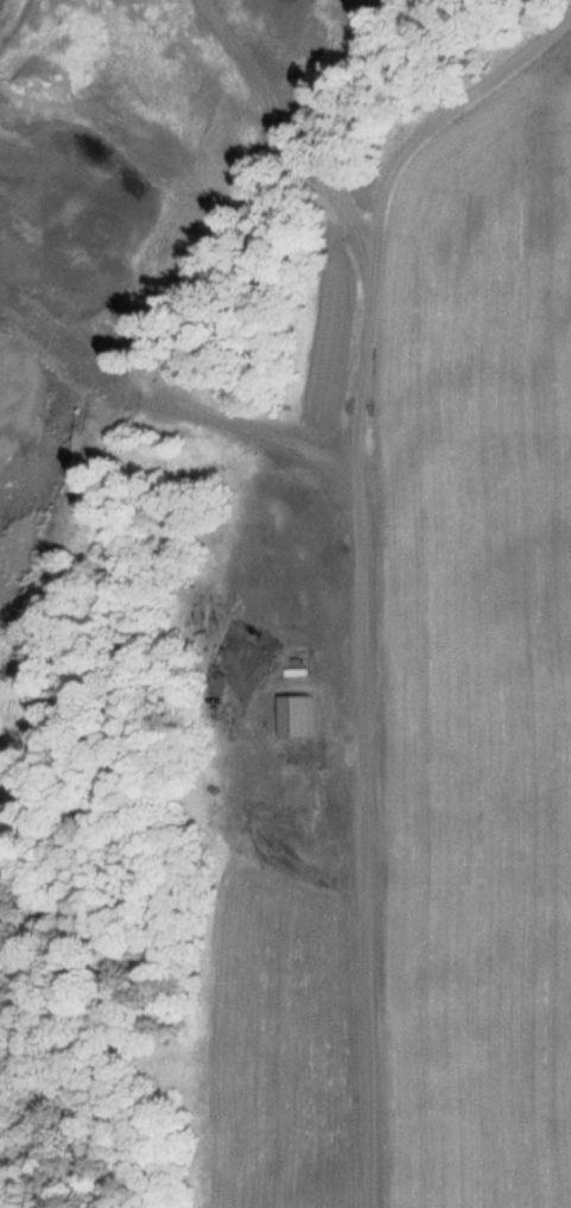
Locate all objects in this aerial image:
road: (354, 561)
building: (304, 716)

